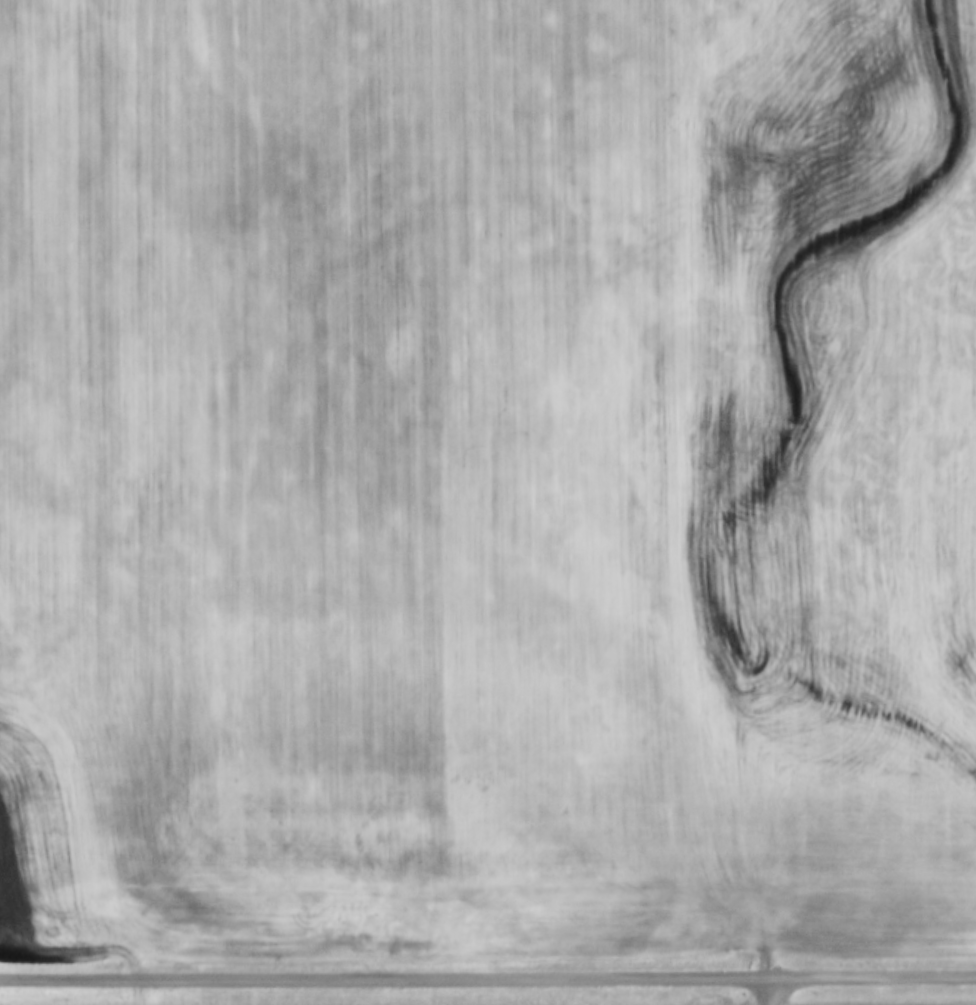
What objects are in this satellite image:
road: (488, 977)
road: (774, 990)

